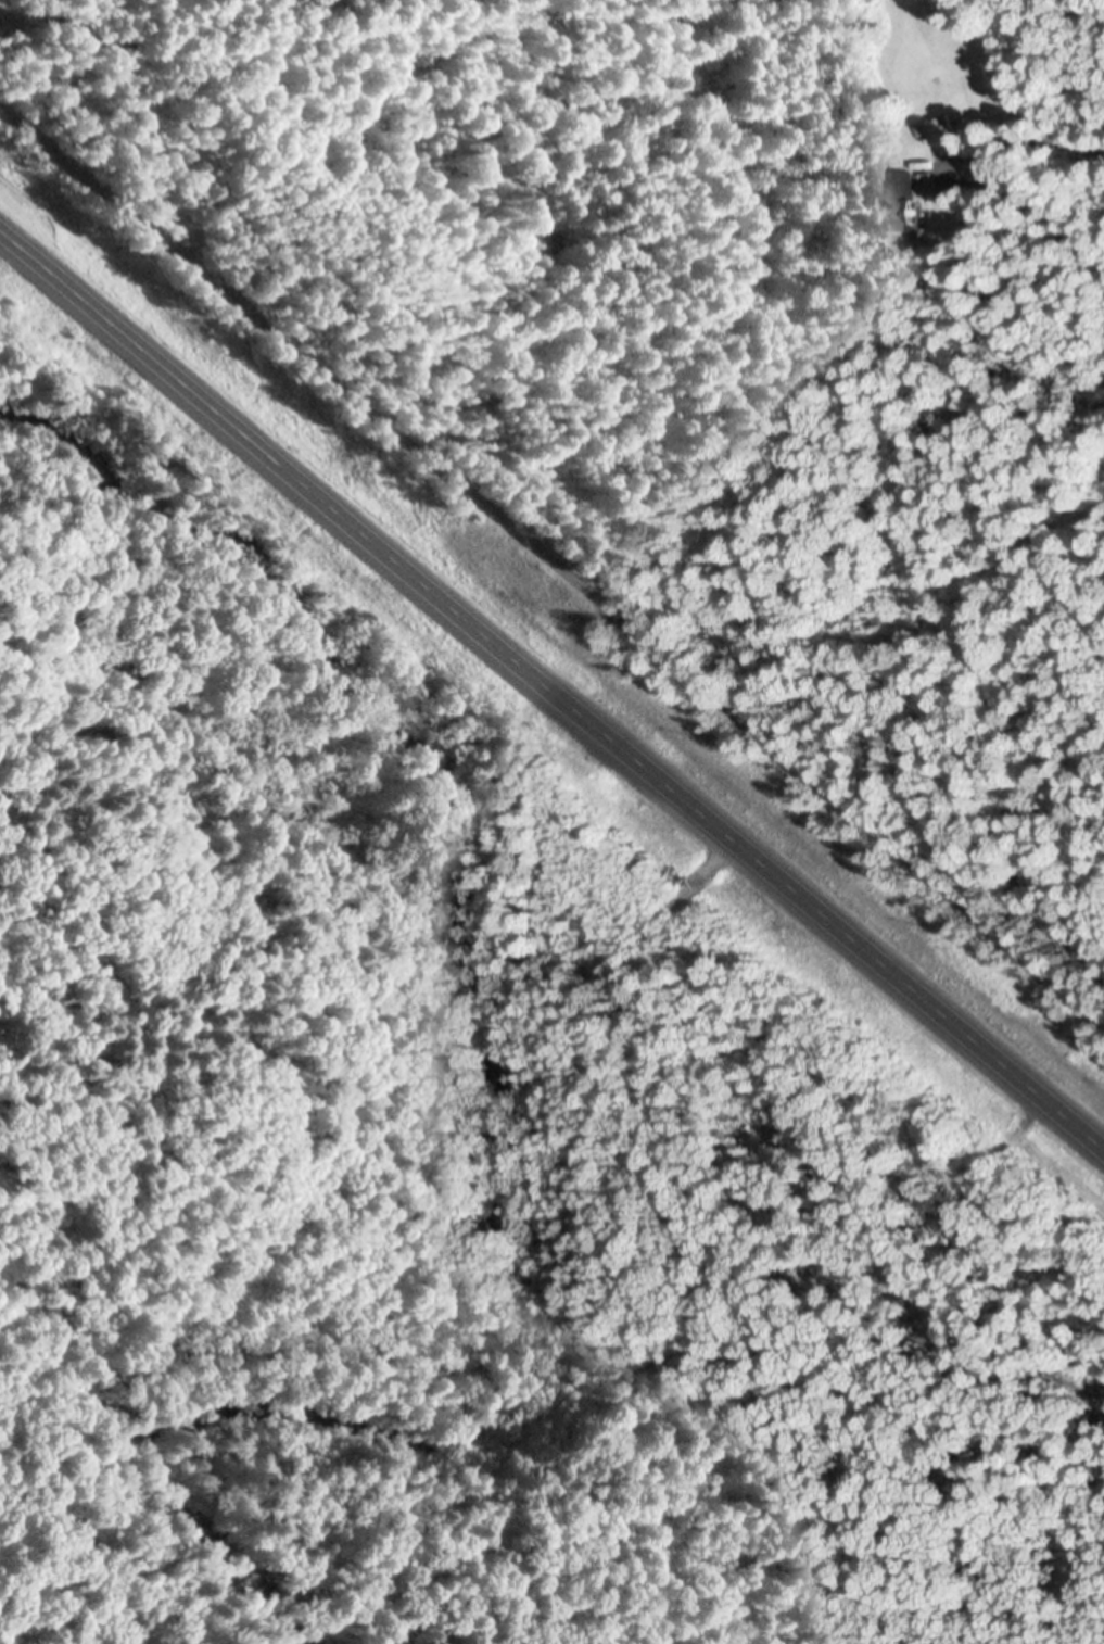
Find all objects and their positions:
building: (944, 125)
building: (987, 186)
building: (901, 202)
road: (551, 565)
road: (551, 695)
river: (510, 1146)

